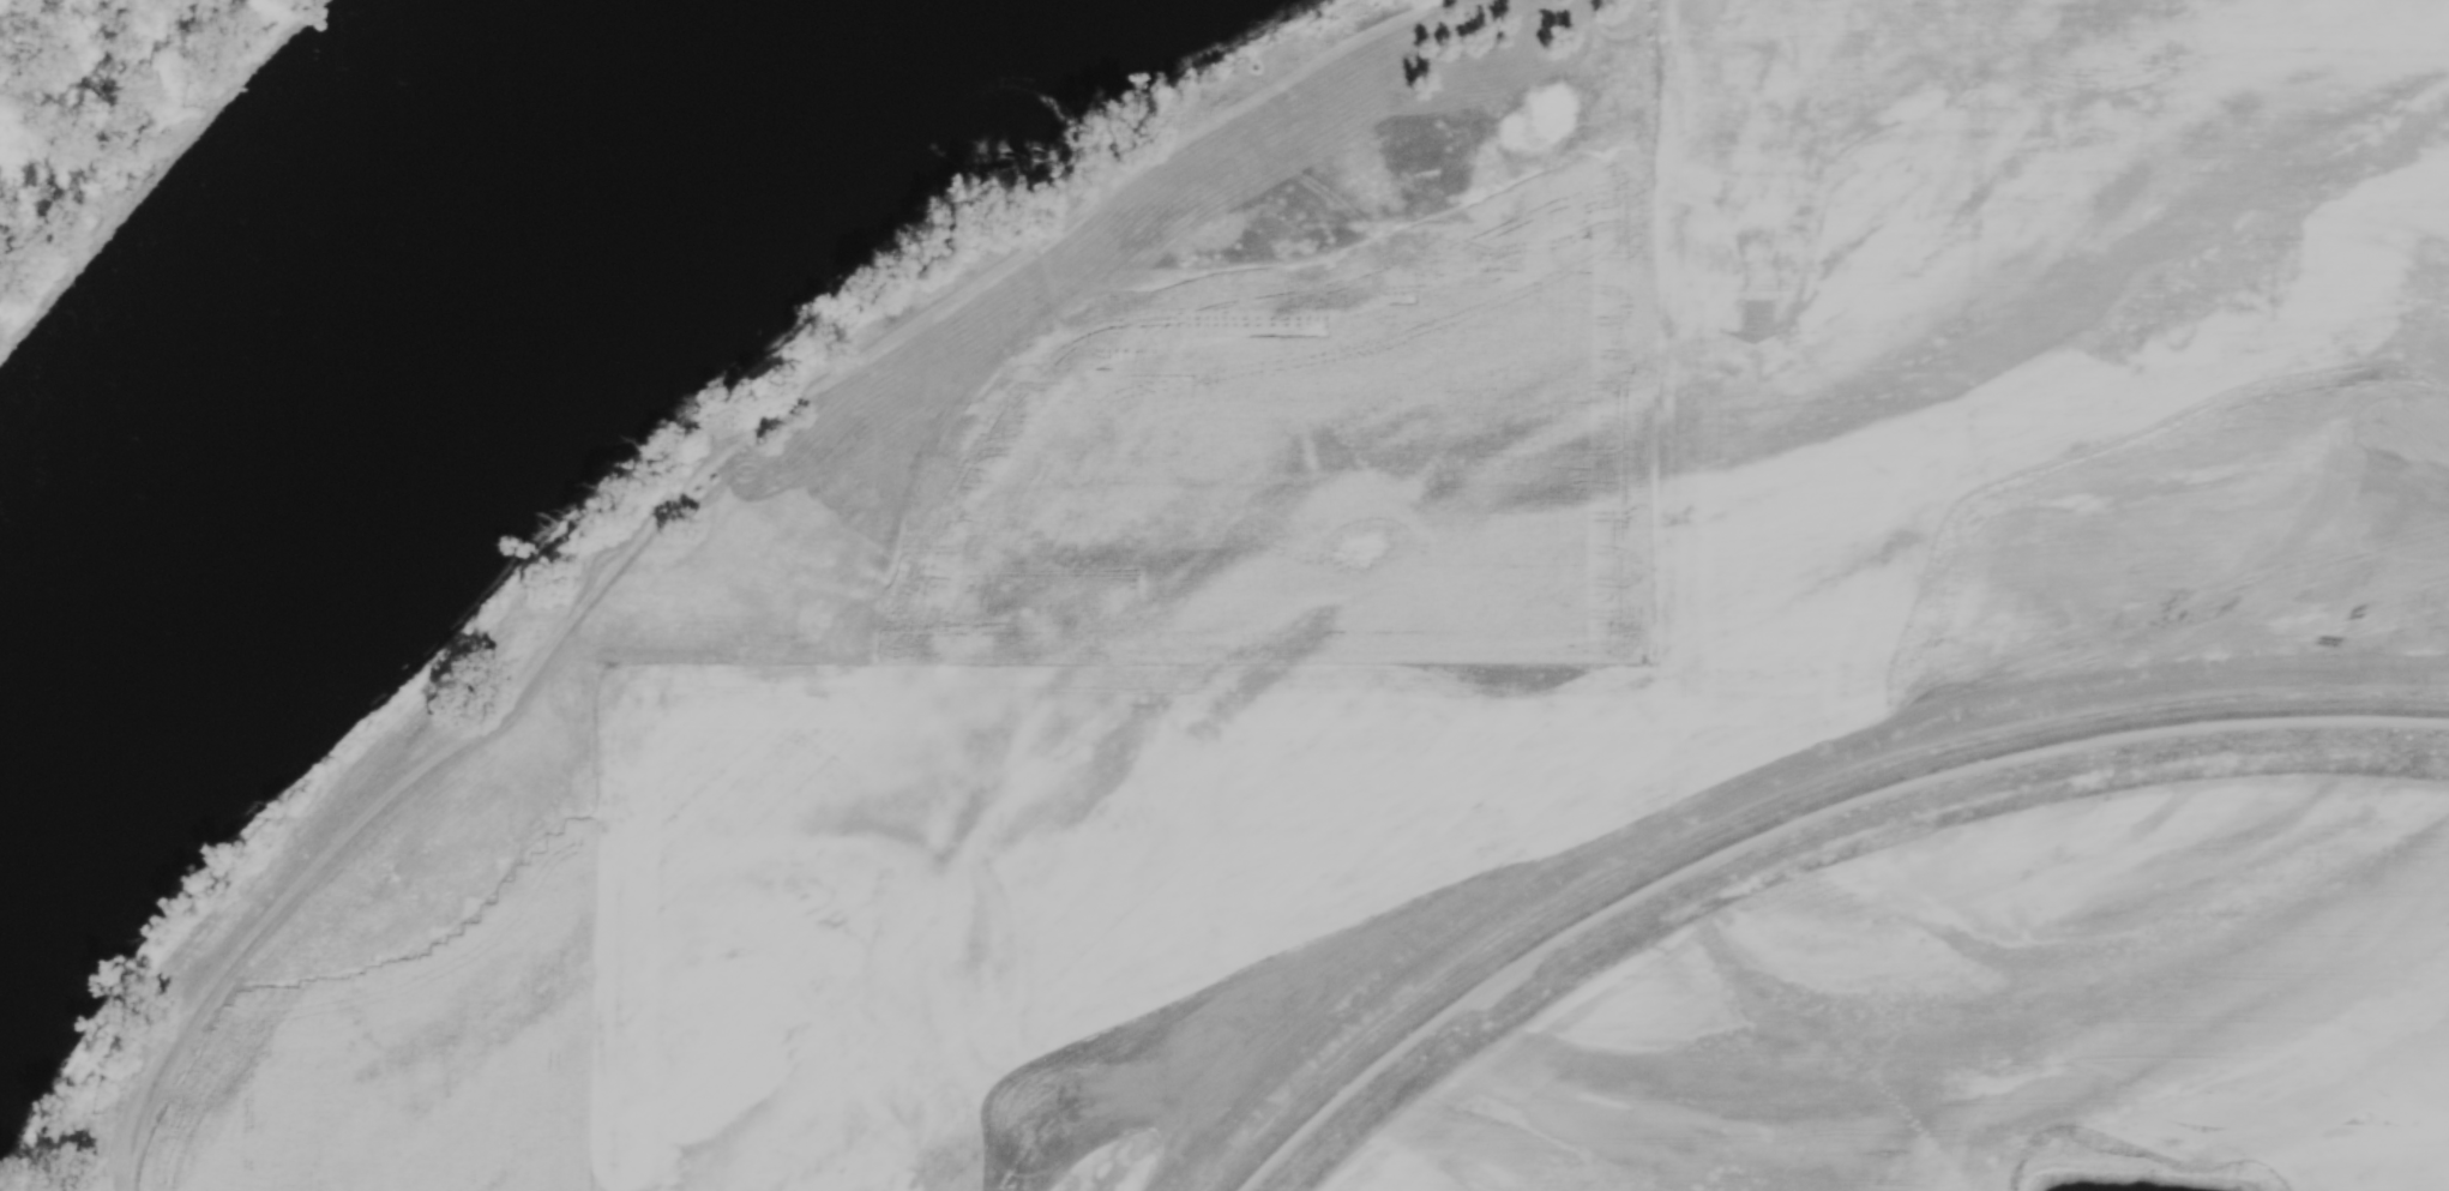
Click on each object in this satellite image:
river: (393, 404)
road: (1782, 816)

